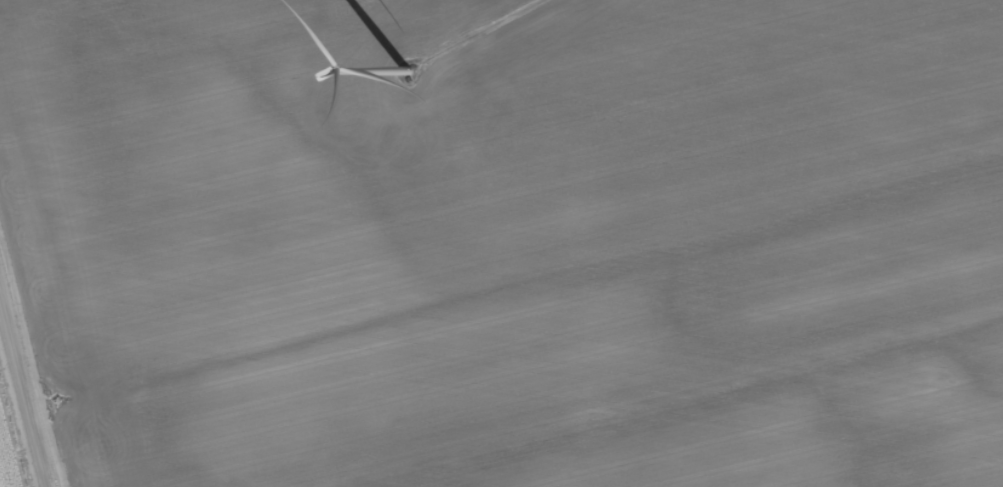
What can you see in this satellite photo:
wind turbine: (406, 74)
road: (32, 360)

